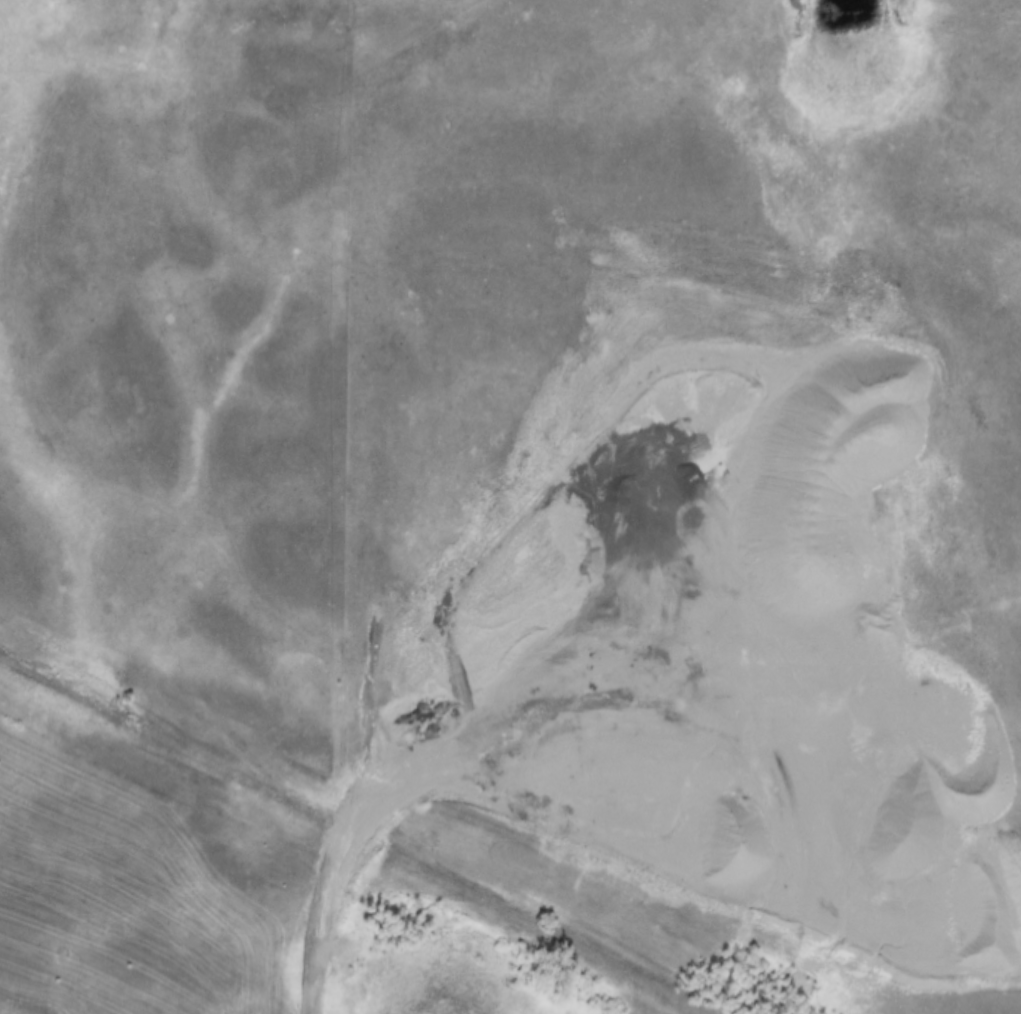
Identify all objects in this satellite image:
road: (430, 738)

